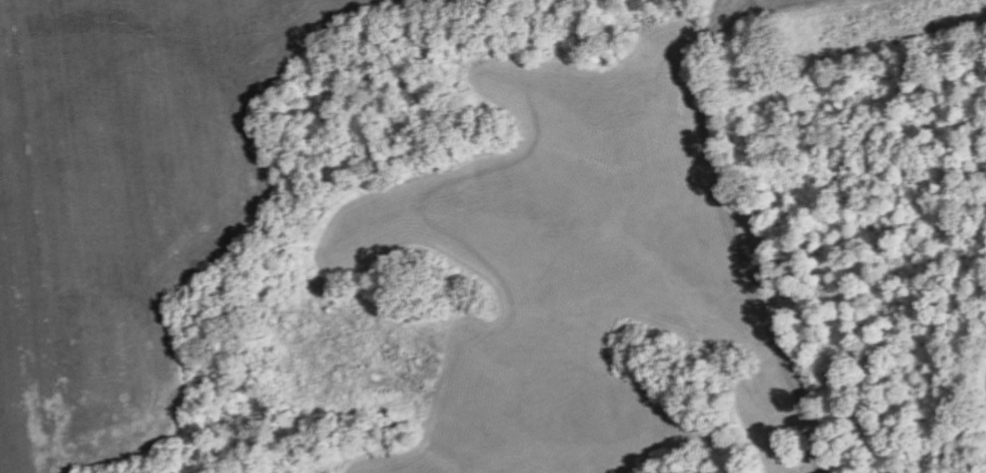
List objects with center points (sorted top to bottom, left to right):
road: (732, 235)

